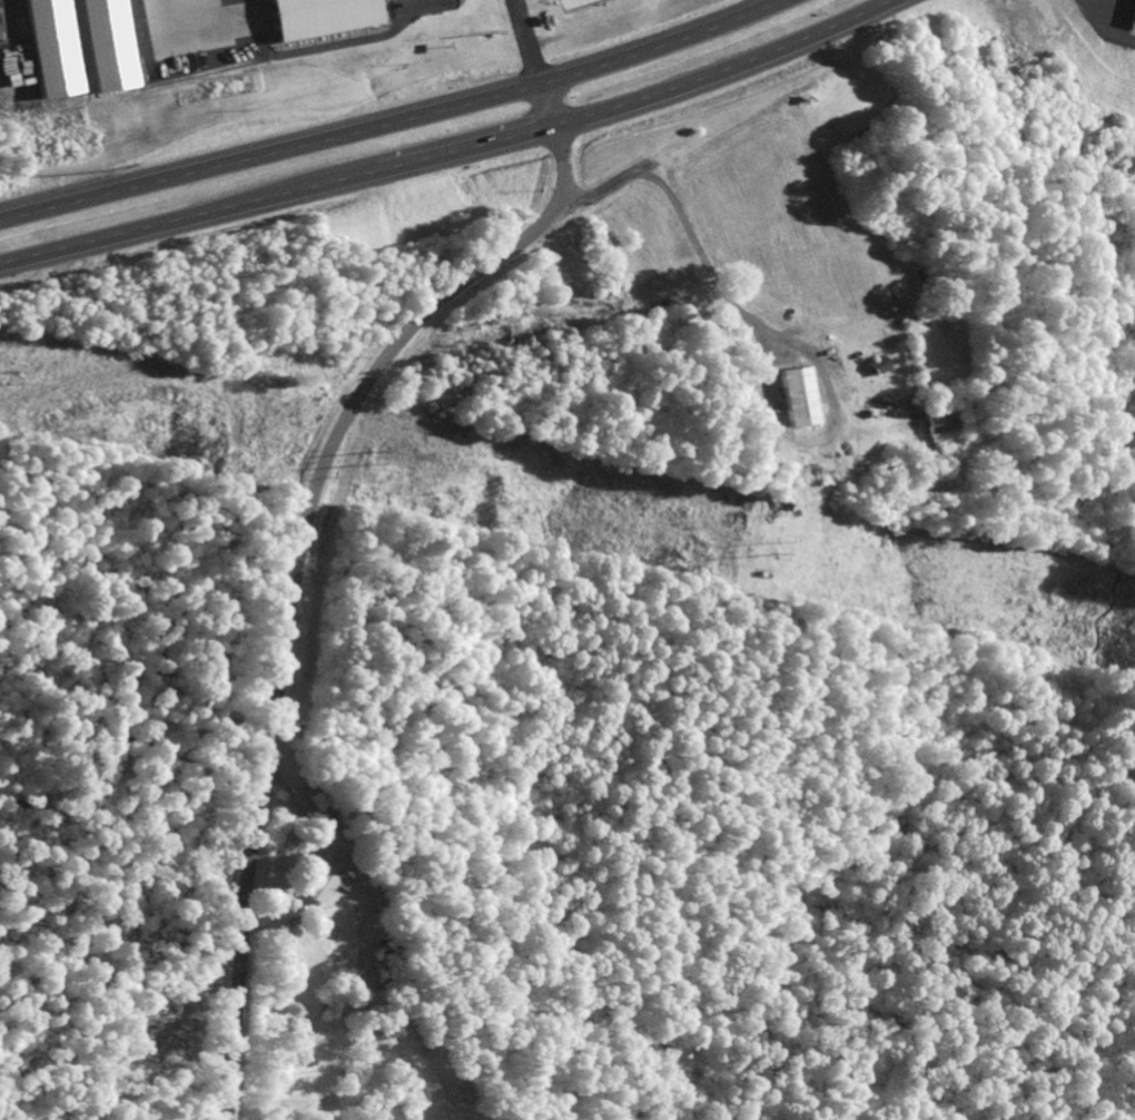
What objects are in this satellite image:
building: (1134, 16)
road: (527, 41)
road: (394, 122)
road: (453, 155)
building: (879, 363)
power tower: (1, 373)
building: (797, 395)
building: (940, 424)
power tower: (368, 454)
power tower: (774, 543)
road: (296, 552)
building: (325, 876)

